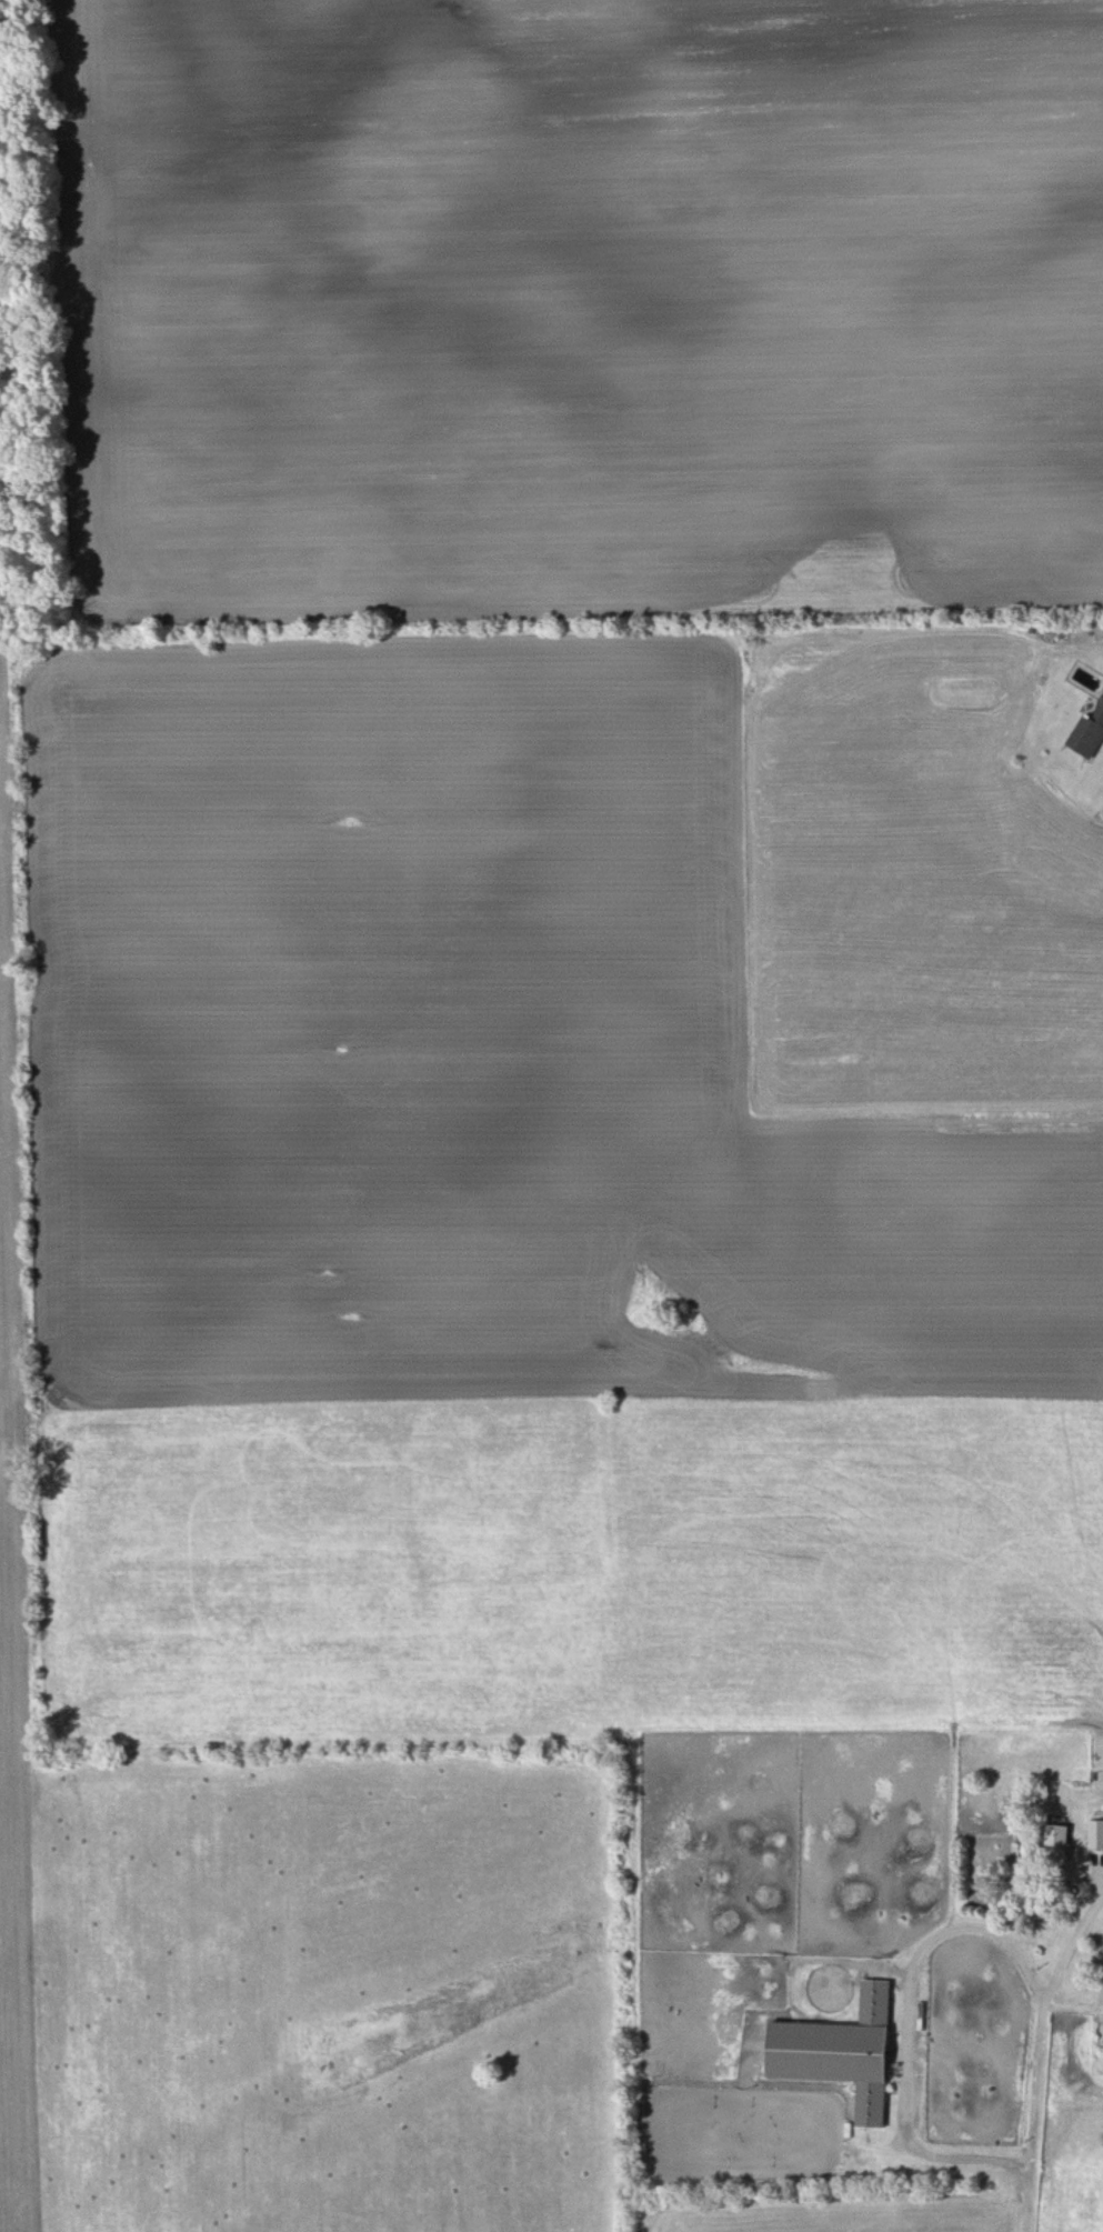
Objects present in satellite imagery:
building: (1091, 731)
building: (1095, 1833)
road: (910, 2031)
building: (842, 2052)
road: (1040, 2058)

